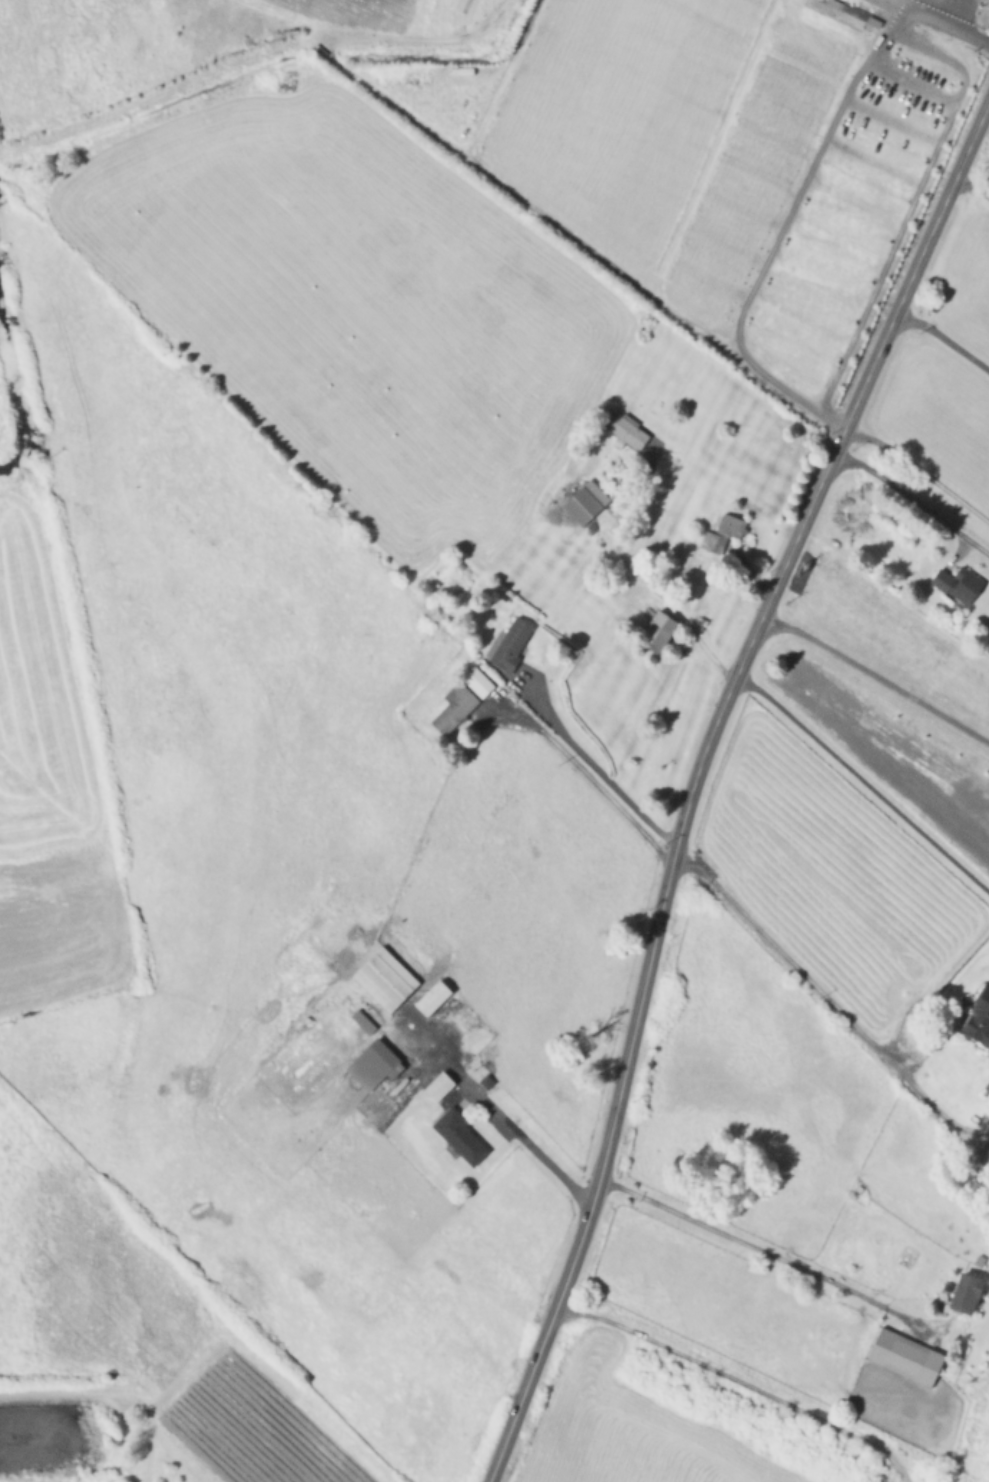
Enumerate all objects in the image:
building: (837, 6)
crop: (360, 8)
road: (923, 17)
building: (875, 21)
flagpole: (981, 24)
road: (963, 29)
road: (878, 43)
road: (965, 155)
road: (973, 183)
road: (943, 340)
crop: (0, 423)
building: (624, 429)
road: (920, 471)
road: (816, 494)
road: (914, 499)
building: (585, 500)
building: (722, 534)
road: (960, 550)
building: (960, 579)
road: (667, 603)
building: (654, 628)
building: (511, 643)
building: (481, 676)
road: (877, 676)
building: (456, 702)
road: (595, 768)
road: (590, 777)
road: (864, 781)
crop: (47, 794)
building: (388, 974)
building: (435, 992)
road: (827, 1000)
building: (363, 1016)
building: (979, 1017)
building: (376, 1062)
building: (487, 1079)
building: (442, 1083)
road: (505, 1121)
building: (459, 1128)
road: (608, 1136)
building: (981, 1257)
road: (779, 1259)
building: (969, 1288)
building: (906, 1353)
road: (744, 1376)

